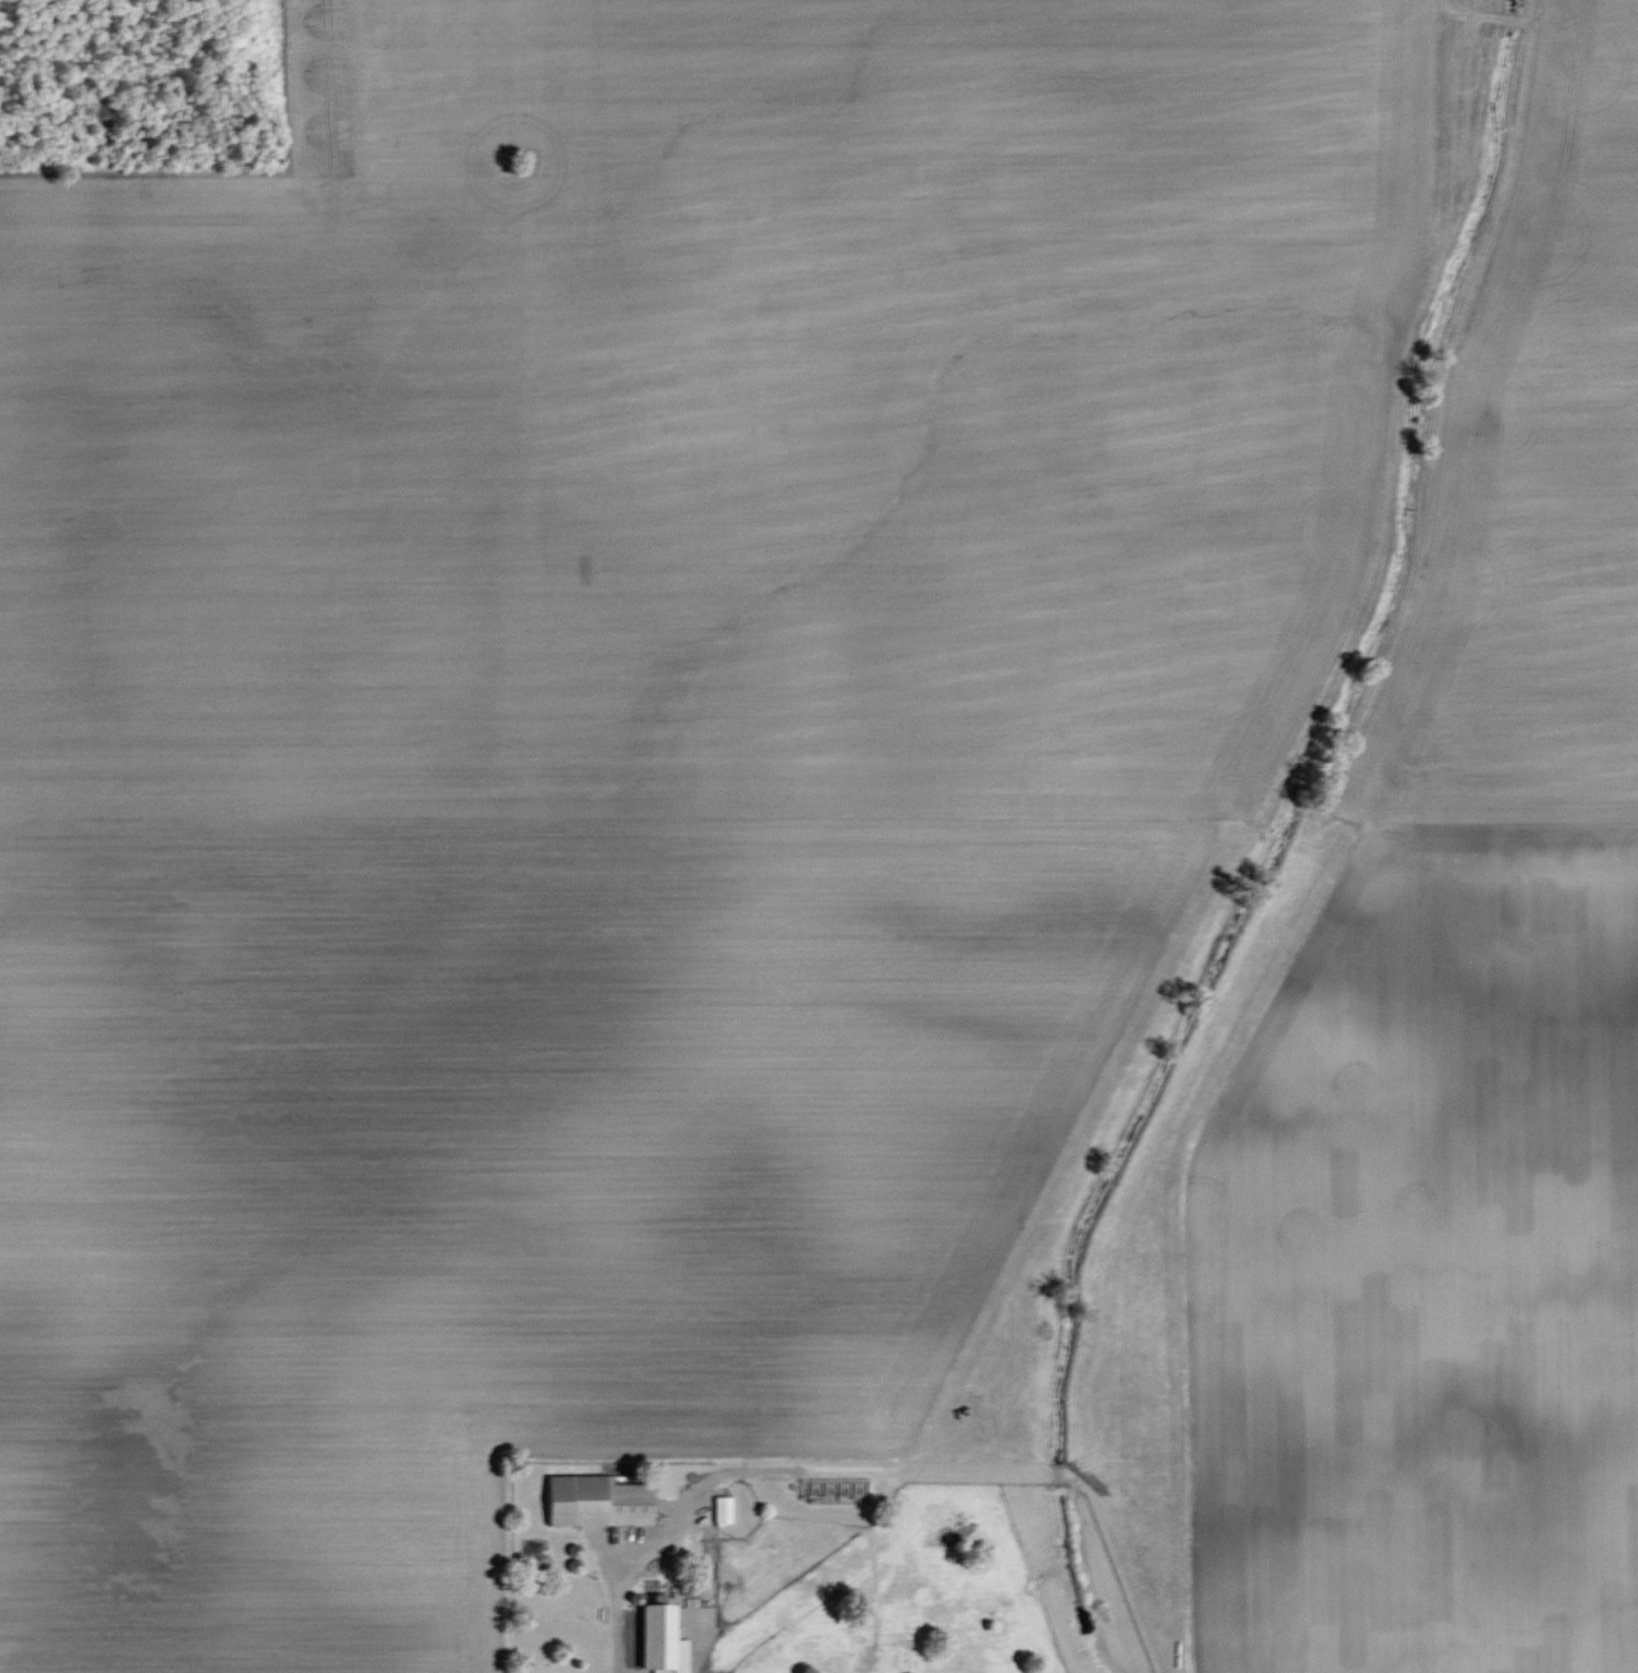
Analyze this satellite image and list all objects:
building: (597, 1500)
building: (721, 1508)
road: (626, 1559)
building: (662, 1639)

